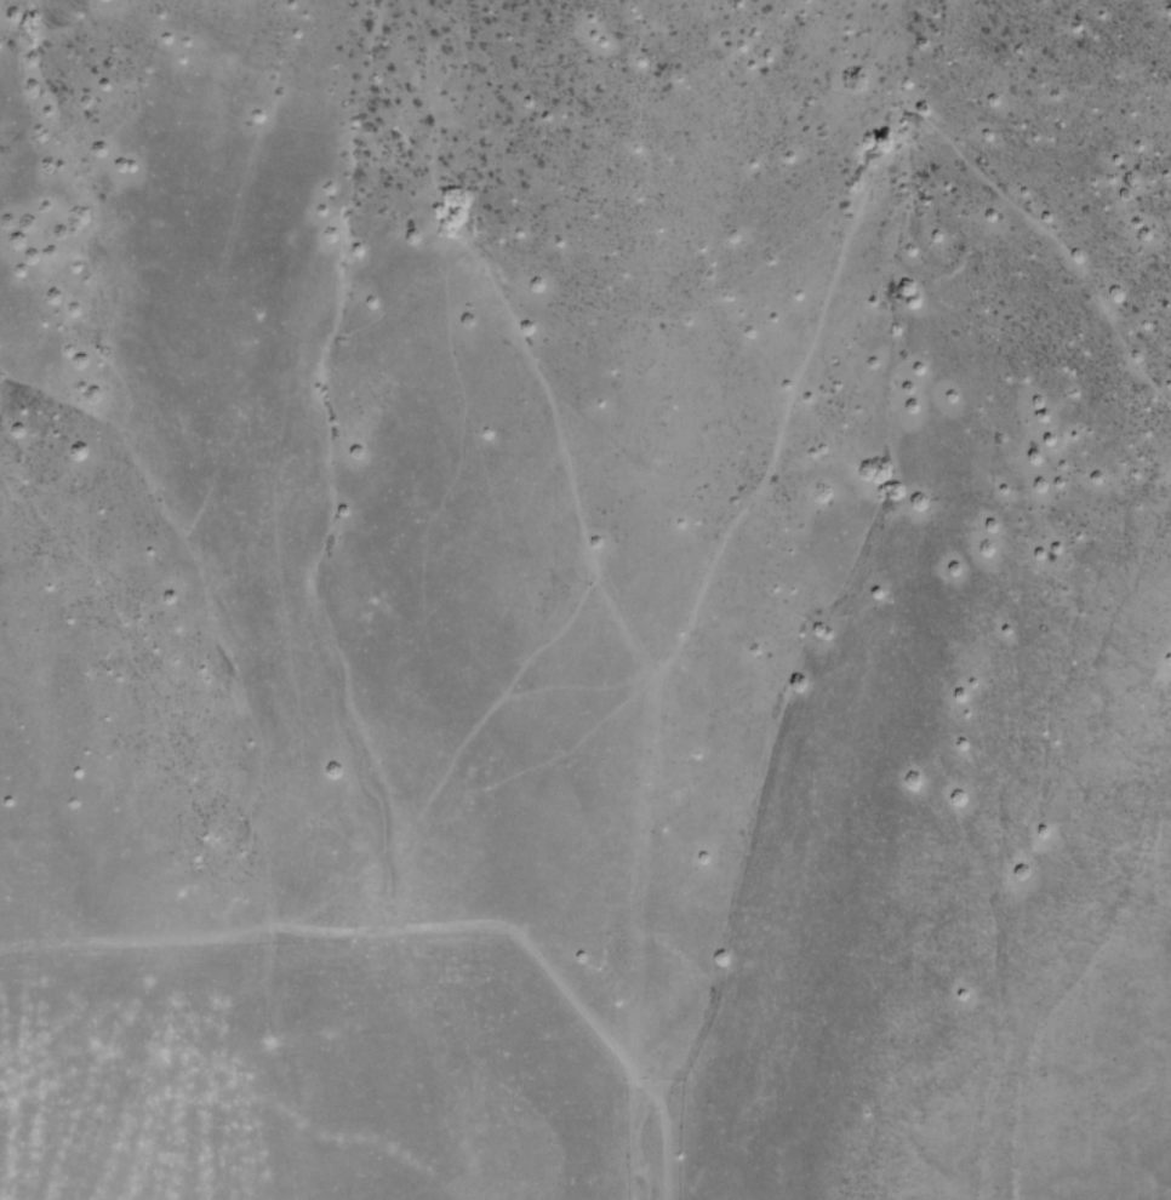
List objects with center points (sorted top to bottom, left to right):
road: (407, 932)

